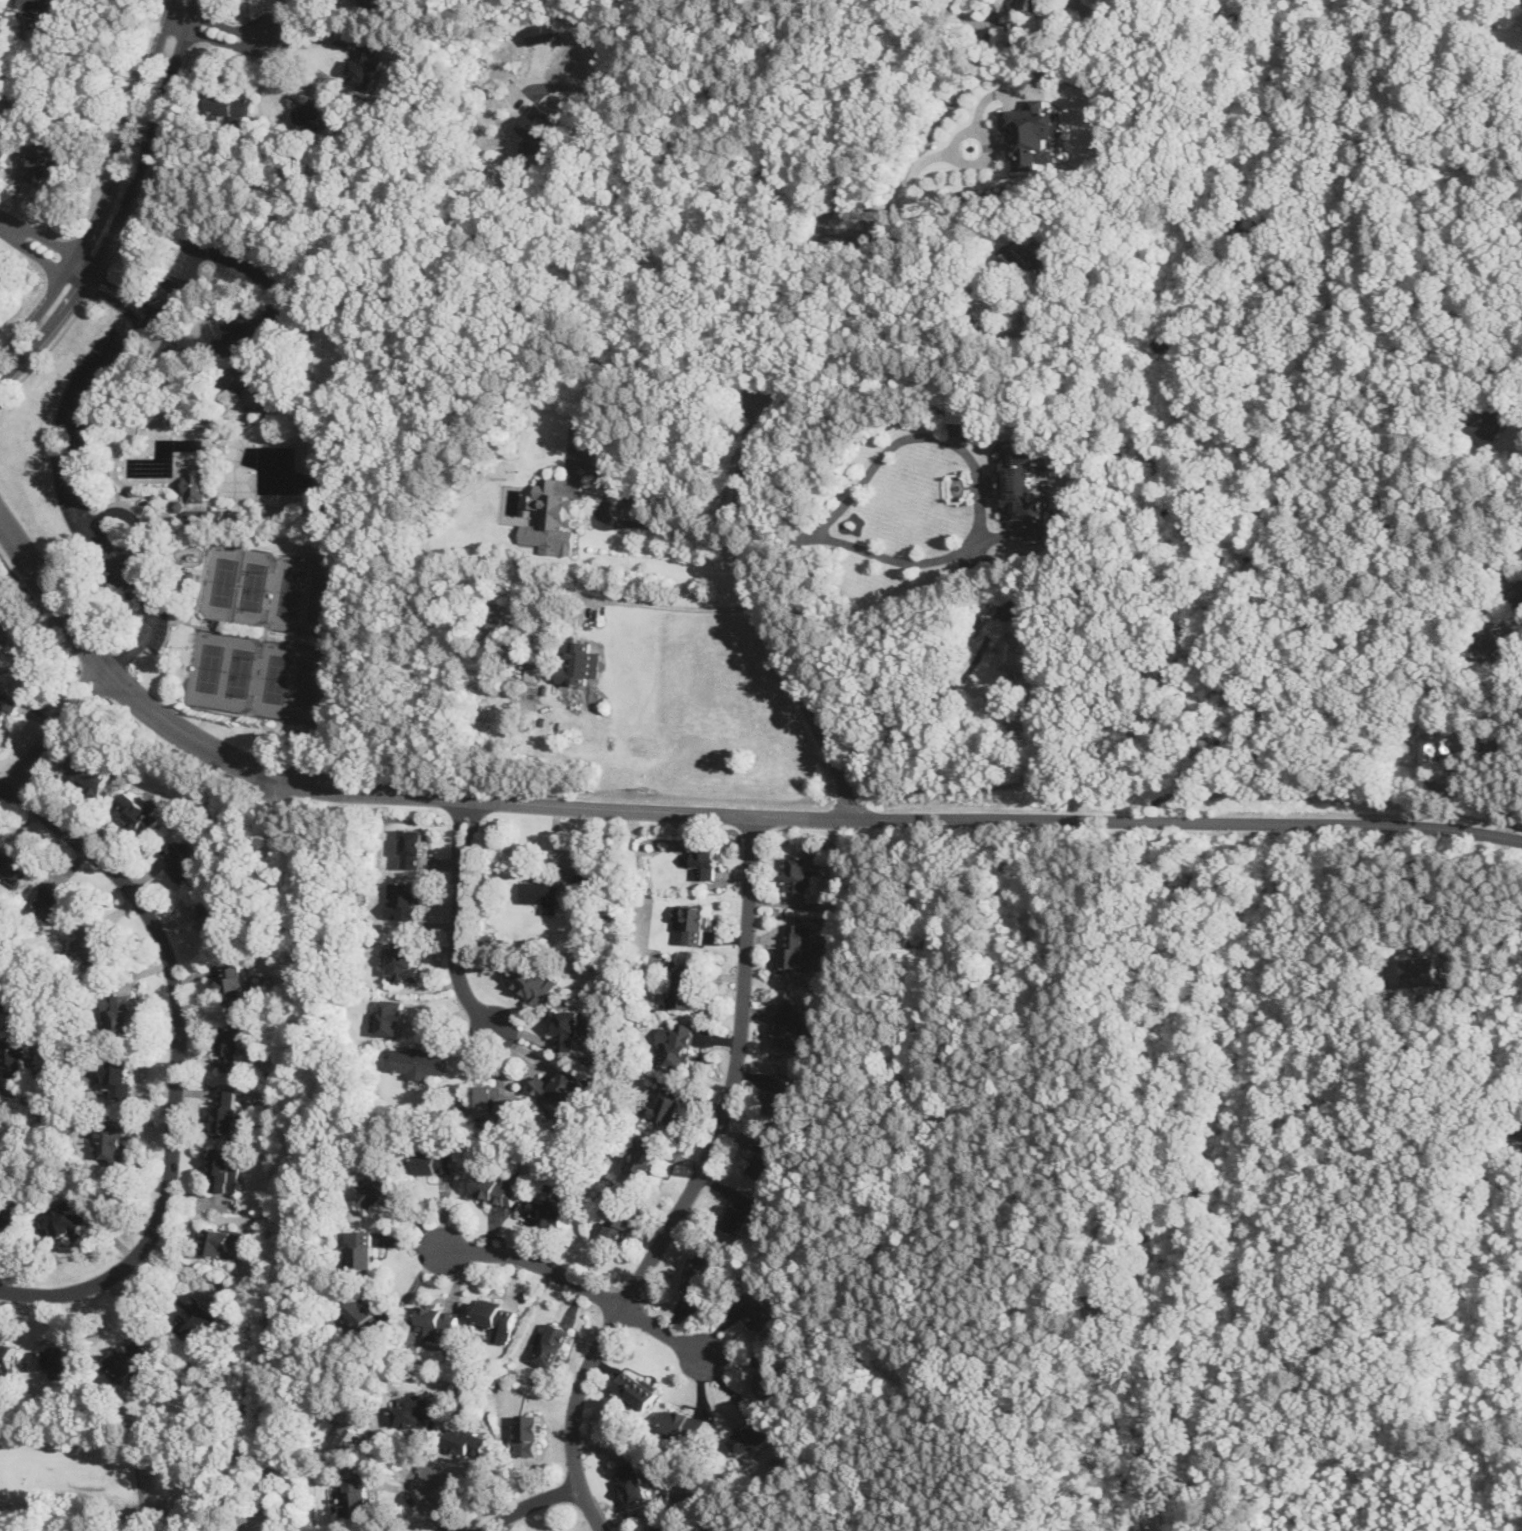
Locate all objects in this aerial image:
road: (205, 1)
building: (43, 4)
building: (373, 4)
building: (1034, 5)
road: (198, 22)
road: (226, 32)
building: (543, 32)
building: (366, 60)
road: (95, 81)
road: (713, 92)
building: (231, 103)
road: (777, 106)
building: (317, 110)
building: (1, 122)
building: (538, 131)
building: (1032, 132)
building: (4, 149)
road: (134, 156)
road: (156, 156)
building: (43, 163)
road: (117, 198)
road: (832, 199)
road: (896, 201)
road: (649, 210)
road: (382, 211)
road: (40, 246)
building: (1029, 262)
road: (97, 281)
road: (274, 283)
building: (0, 287)
road: (917, 323)
road: (47, 351)
building: (244, 375)
building: (267, 400)
building: (1487, 421)
road: (70, 461)
parking lot: (61, 467)
building: (195, 482)
building: (1020, 483)
building: (555, 514)
building: (204, 515)
road: (979, 516)
road: (666, 526)
building: (1517, 591)
road: (675, 606)
road: (763, 616)
park: (265, 632)
building: (1022, 644)
building: (582, 660)
road: (928, 697)
building: (9, 700)
road: (113, 702)
road: (53, 724)
building: (1442, 741)
building: (89, 774)
road: (1486, 788)
building: (137, 812)
road: (703, 812)
building: (412, 847)
building: (184, 861)
building: (705, 861)
building: (14, 868)
building: (800, 874)
building: (584, 880)
road: (1393, 889)
building: (540, 892)
building: (404, 899)
building: (55, 901)
building: (213, 916)
road: (458, 919)
building: (692, 920)
building: (94, 942)
building: (796, 948)
building: (403, 960)
building: (1420, 972)
building: (235, 981)
building: (533, 981)
building: (684, 989)
building: (8, 993)
building: (118, 1014)
building: (388, 1017)
building: (791, 1025)
road: (179, 1027)
building: (570, 1028)
building: (677, 1044)
building: (231, 1048)
building: (15, 1056)
building: (420, 1060)
building: (116, 1075)
building: (559, 1088)
road: (66, 1090)
building: (780, 1094)
building: (495, 1103)
building: (669, 1103)
building: (228, 1110)
building: (113, 1139)
building: (1515, 1140)
road: (295, 1149)
building: (644, 1157)
building: (767, 1158)
road: (32, 1163)
building: (434, 1164)
building: (225, 1169)
building: (495, 1184)
road: (692, 1187)
building: (378, 1188)
building: (549, 1211)
building: (741, 1212)
building: (622, 1220)
building: (65, 1221)
building: (7, 1230)
building: (224, 1240)
building: (360, 1250)
road: (533, 1260)
building: (701, 1273)
road: (31, 1292)
building: (1105, 1308)
building: (759, 1310)
building: (496, 1314)
building: (364, 1316)
building: (196, 1317)
building: (436, 1323)
road: (665, 1331)
building: (552, 1345)
building: (7, 1356)
building: (57, 1357)
road: (250, 1359)
building: (133, 1360)
building: (771, 1373)
building: (636, 1388)
building: (414, 1412)
building: (685, 1423)
building: (353, 1433)
building: (530, 1434)
building: (751, 1437)
building: (466, 1440)
park: (105, 1479)
building: (635, 1480)
building: (354, 1496)
road: (528, 1502)
road: (434, 1509)
building: (664, 1525)
building: (380, 1530)

